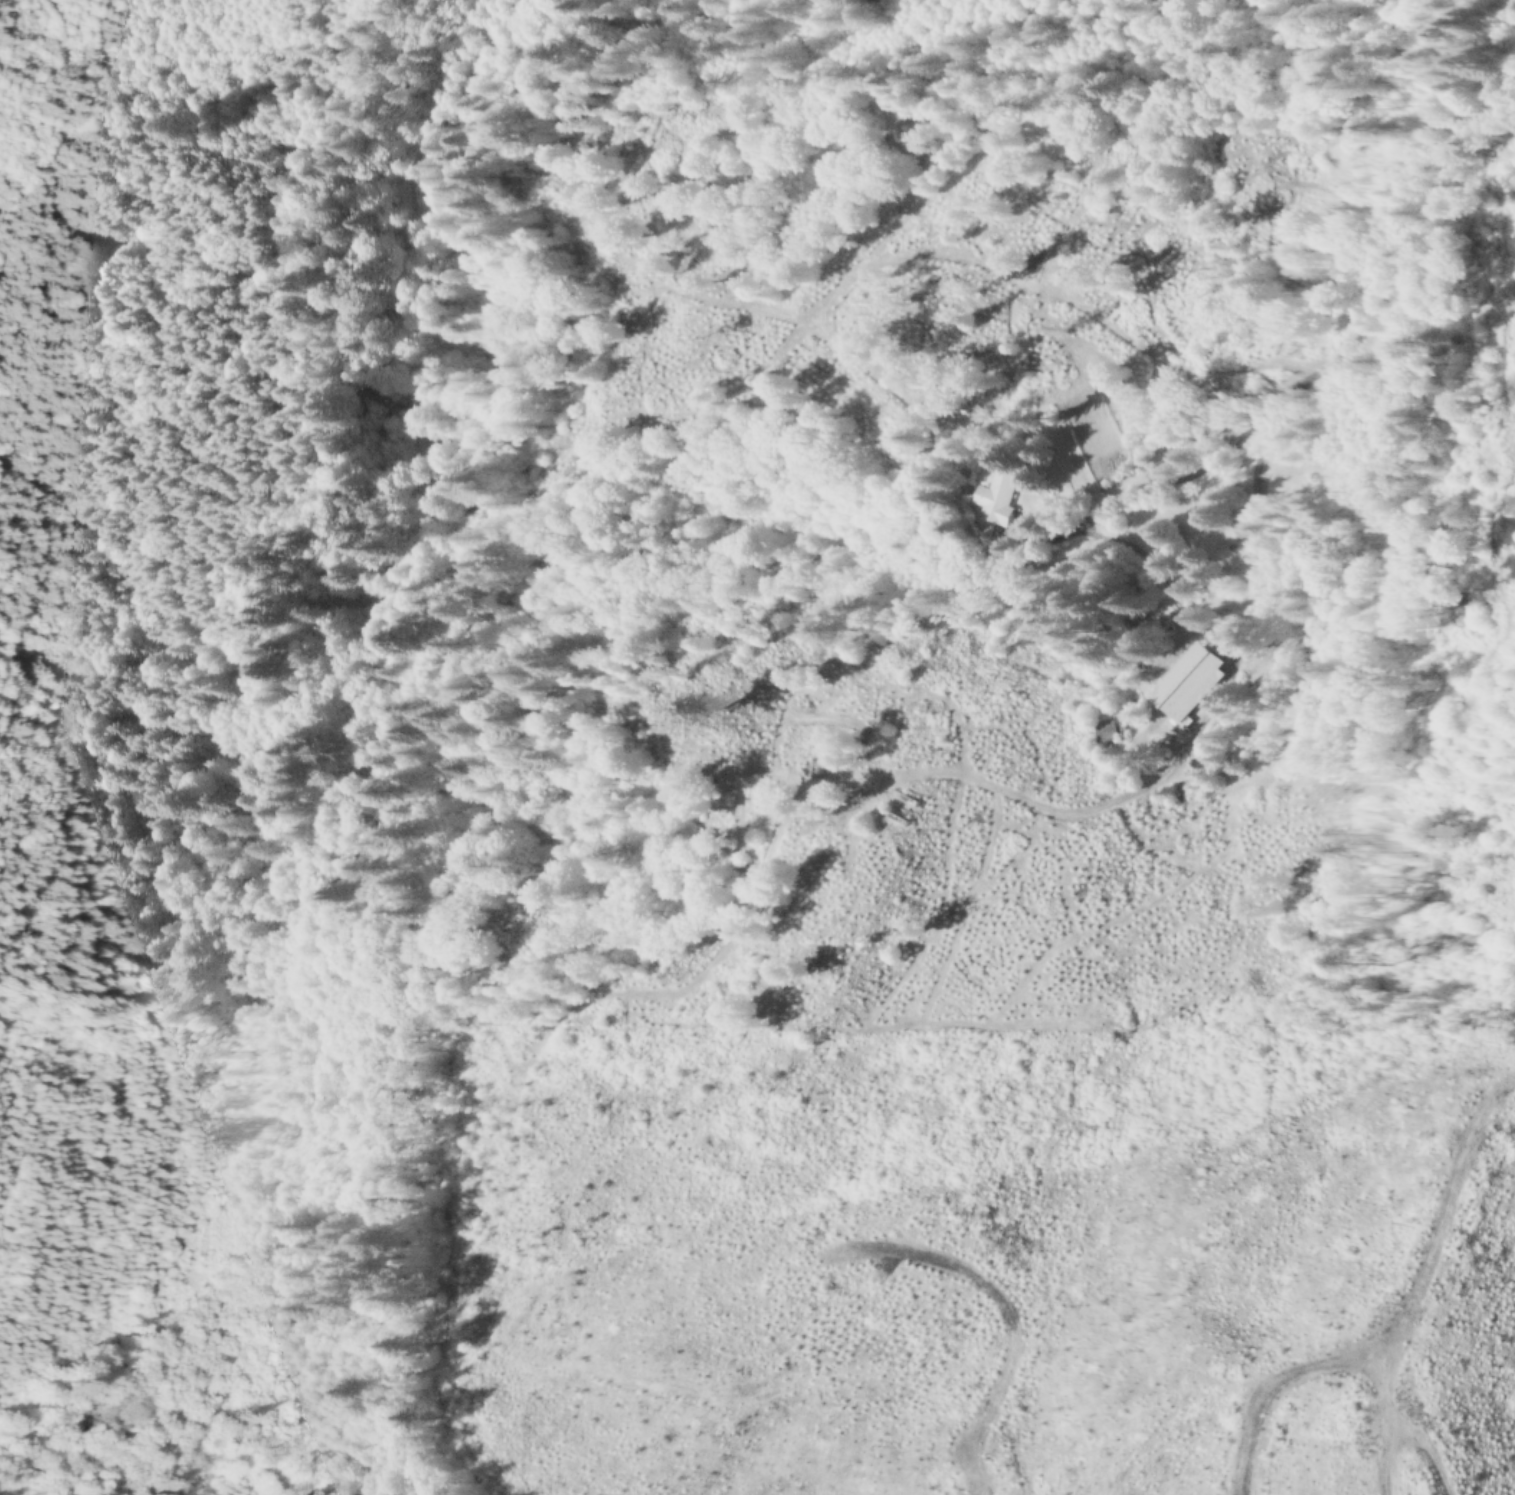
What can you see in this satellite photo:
building: (1075, 413)
building: (1000, 499)
building: (1188, 683)
road: (1447, 1217)
road: (1012, 1324)
road: (1329, 1362)

